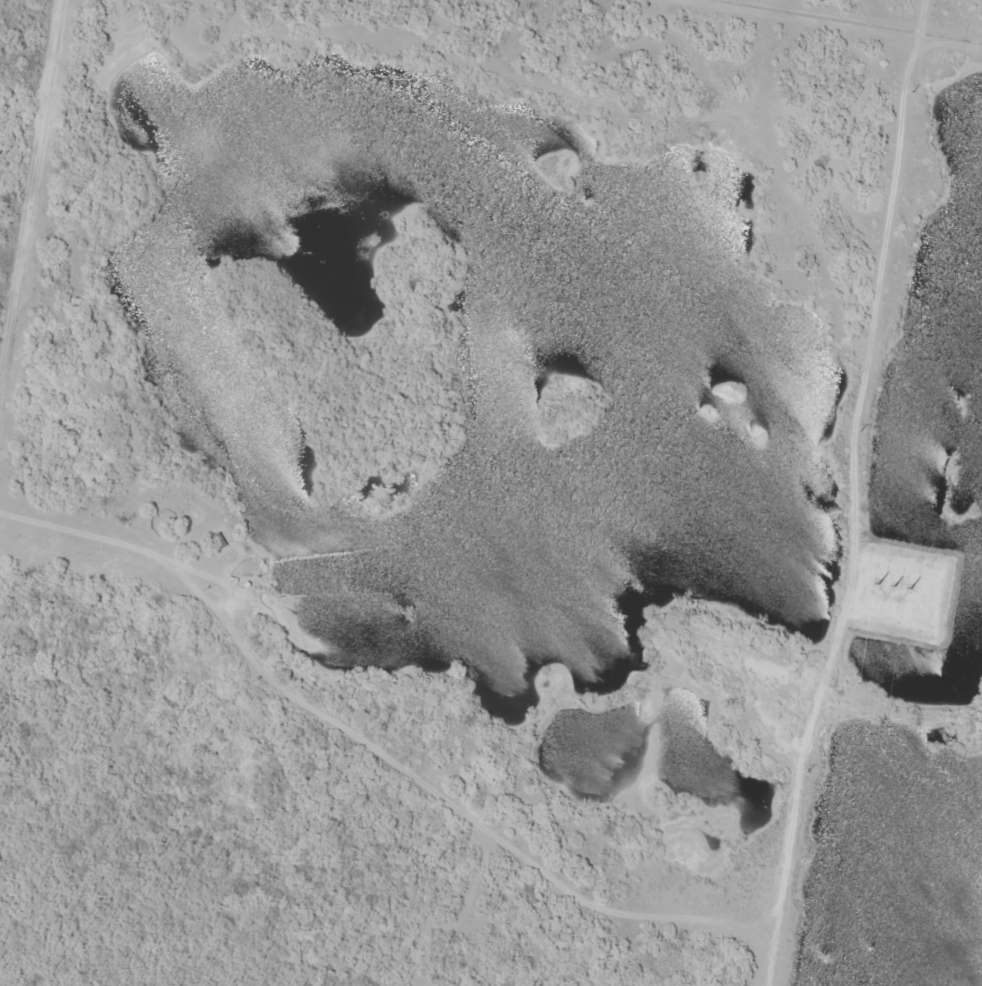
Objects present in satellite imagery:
building: (217, 542)
power tower: (894, 587)

